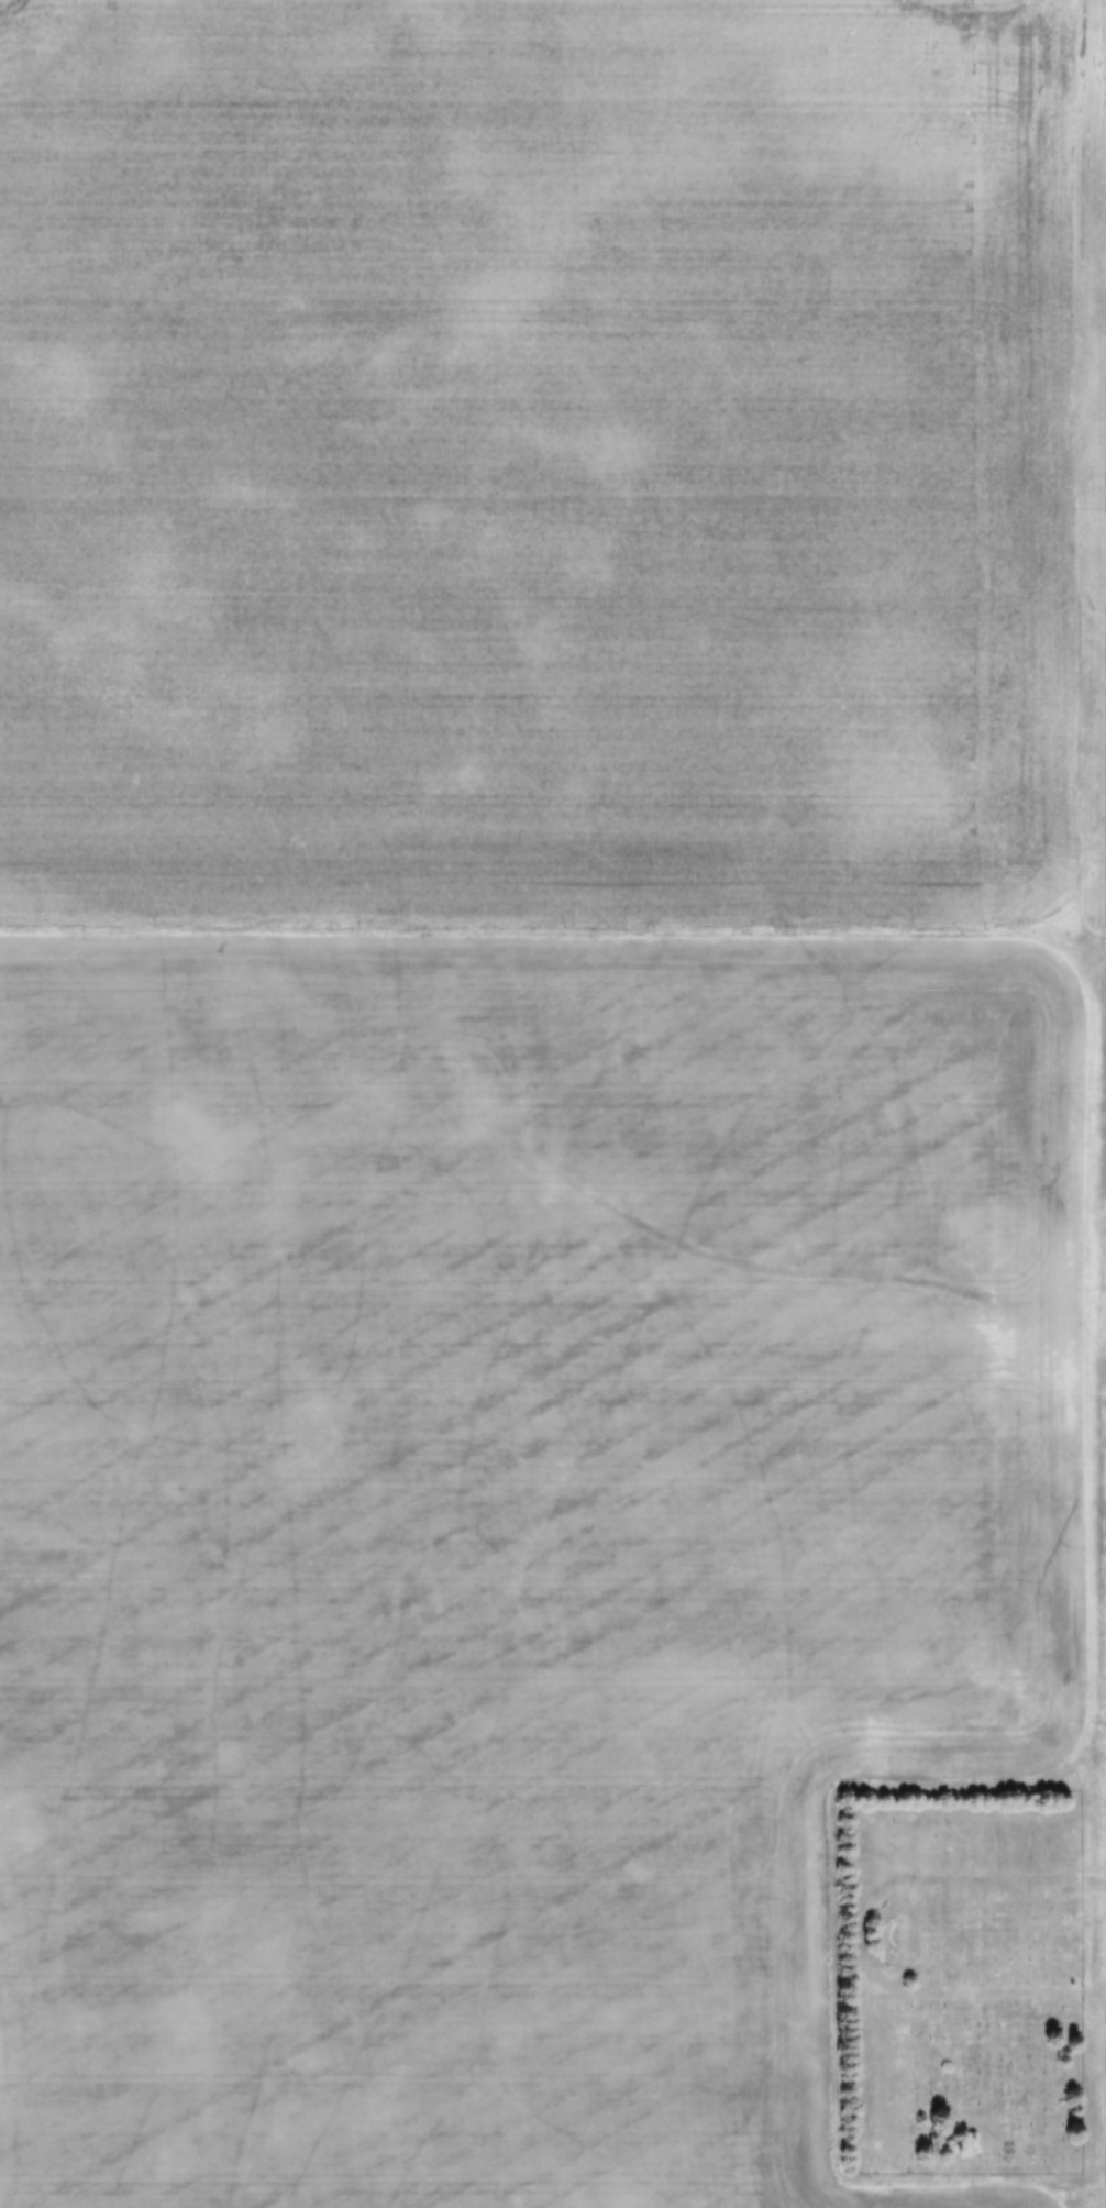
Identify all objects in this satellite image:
road: (870, 1934)
park: (963, 1972)

